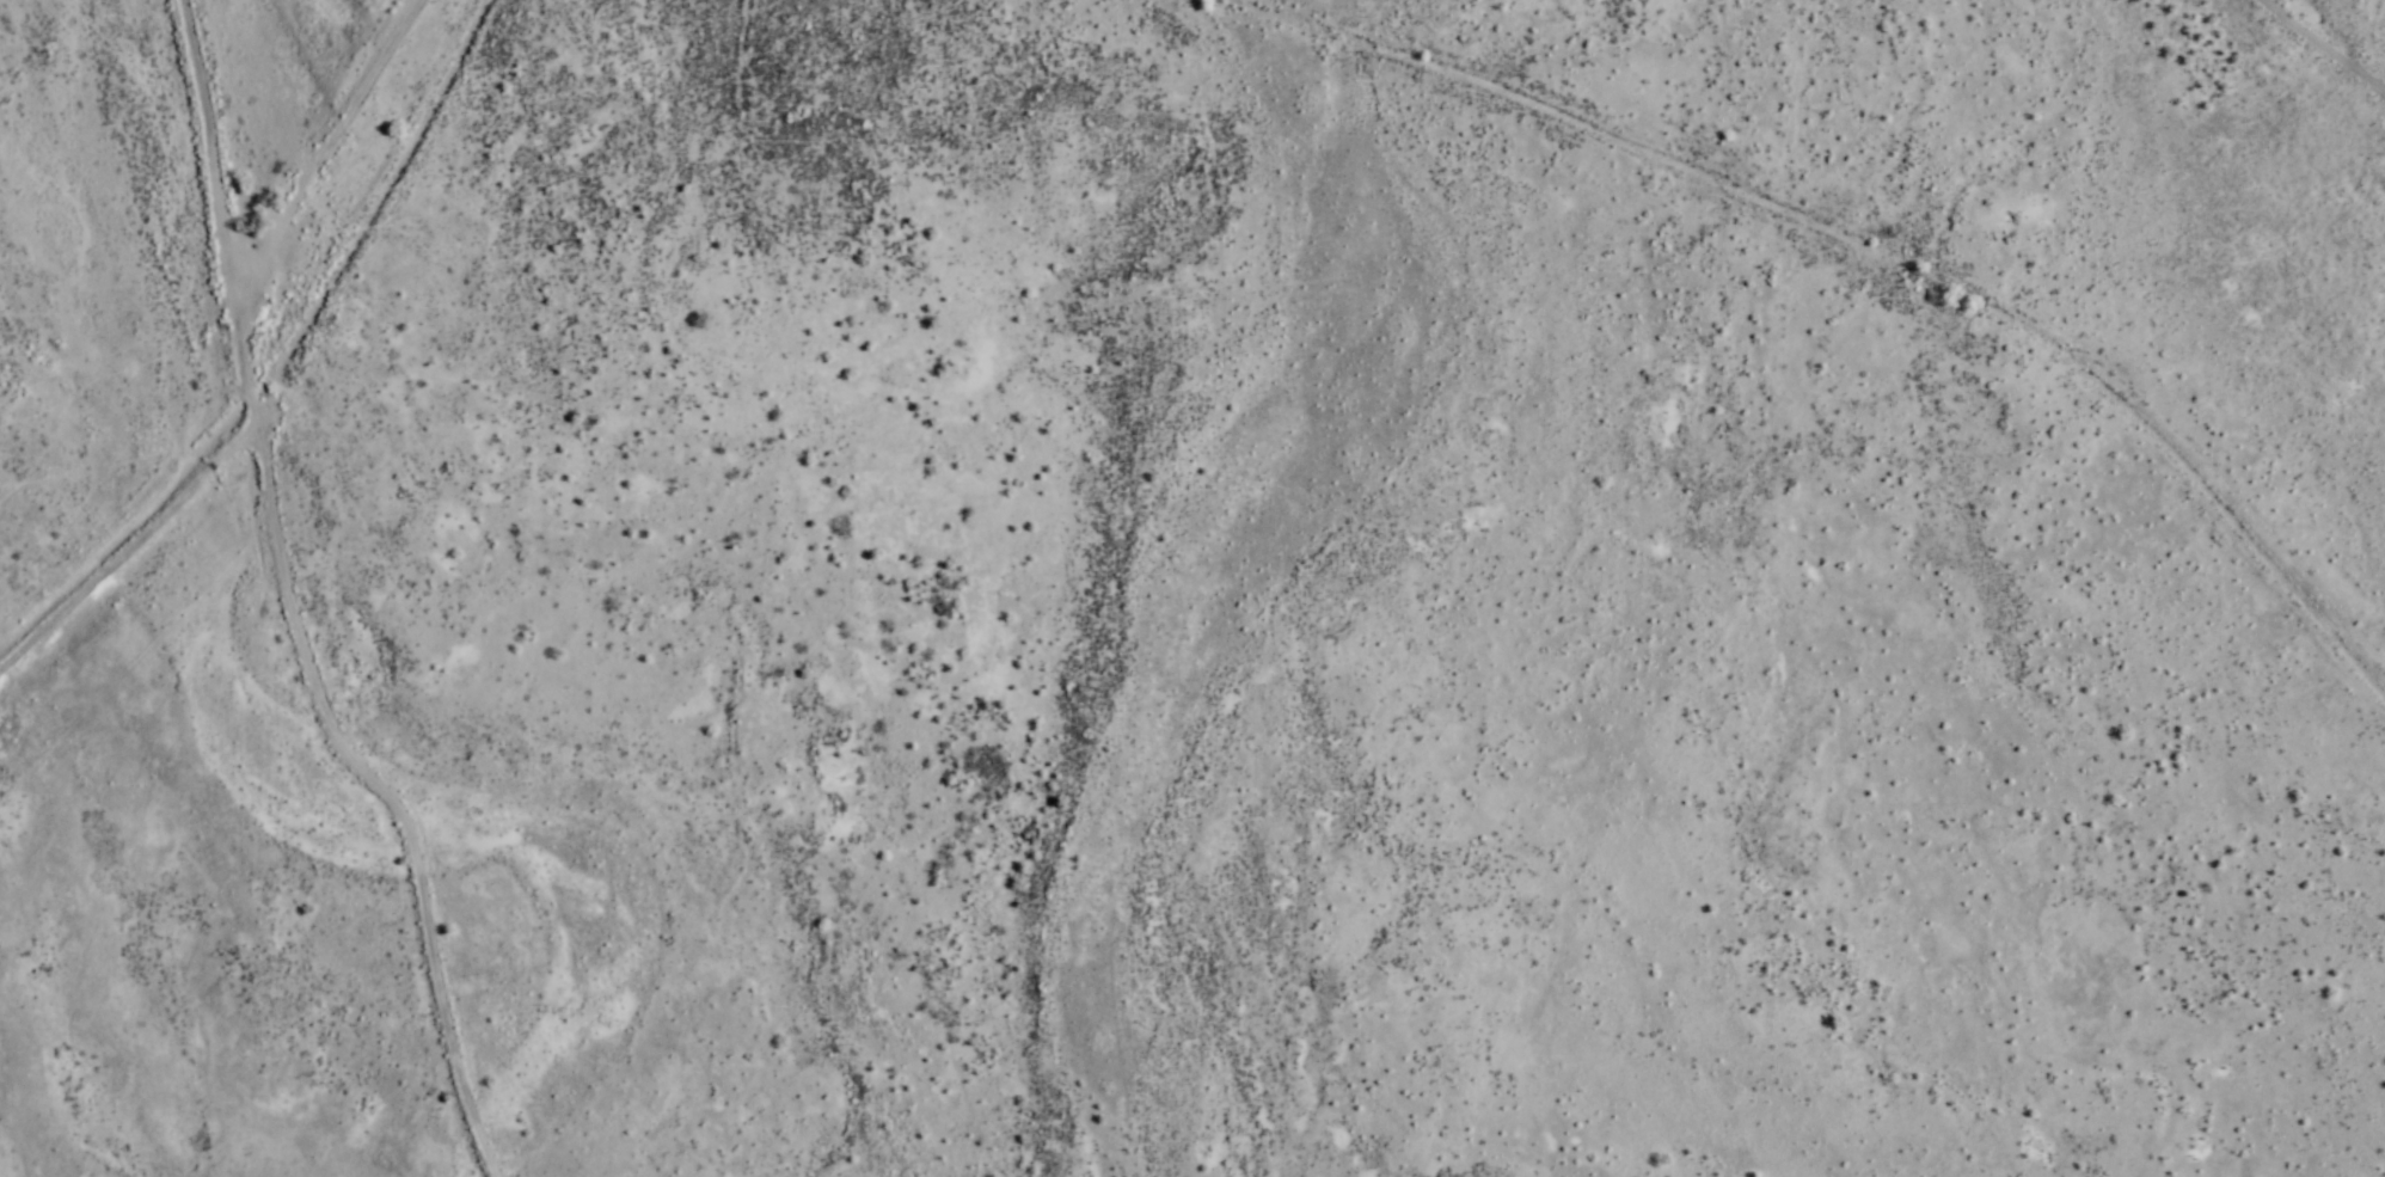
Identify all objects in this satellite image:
road: (2310, 55)
road: (308, 154)
road: (130, 546)
road: (287, 602)

